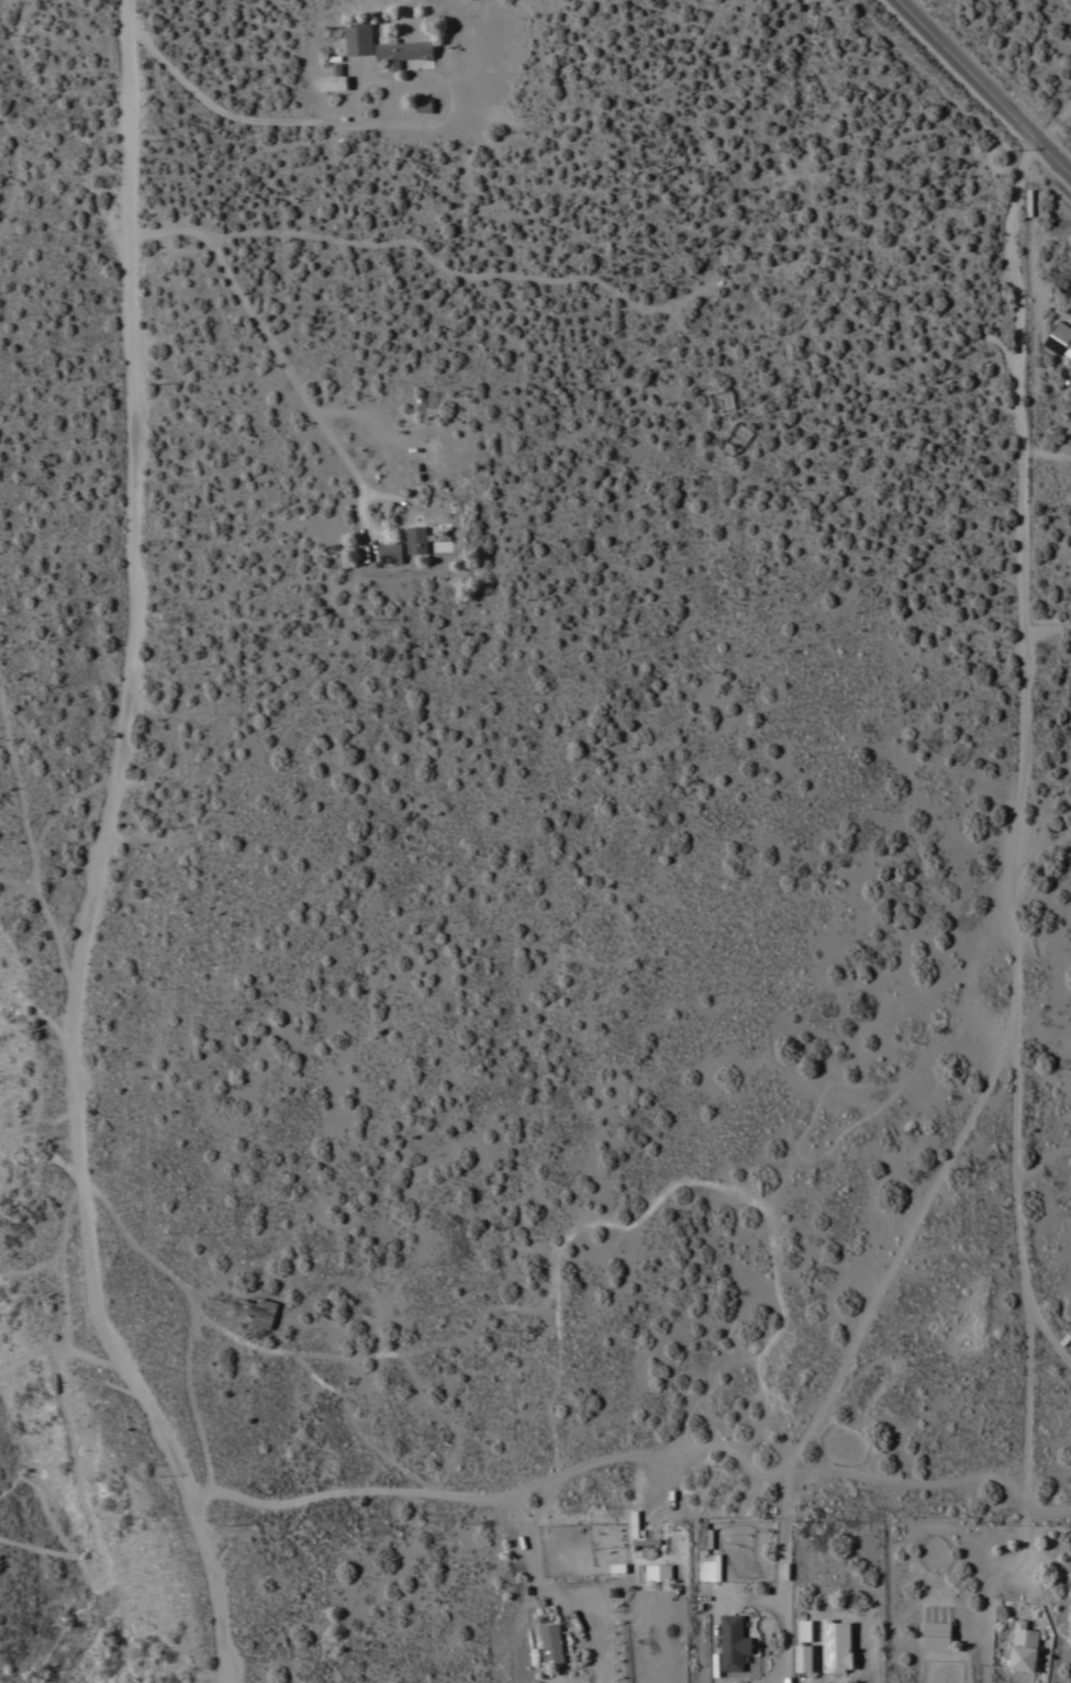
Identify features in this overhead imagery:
building: (359, 38)
building: (403, 52)
building: (334, 79)
road: (984, 86)
road: (394, 93)
building: (424, 104)
road: (212, 105)
road: (1053, 120)
road: (18, 174)
road: (451, 277)
road: (265, 331)
building: (1058, 338)
building: (415, 539)
building: (390, 553)
road: (1050, 623)
road: (68, 802)
road: (1030, 837)
road: (32, 846)
road: (104, 855)
road: (907, 1240)
building: (258, 1311)
road: (187, 1320)
road: (1050, 1325)
road: (609, 1459)
building: (701, 1539)
building: (645, 1541)
building: (709, 1571)
building: (658, 1572)
road: (783, 1579)
road: (551, 1592)
building: (936, 1635)
building: (550, 1641)
building: (733, 1642)
building: (804, 1646)
building: (836, 1646)
building: (1023, 1648)
building: (714, 1663)

